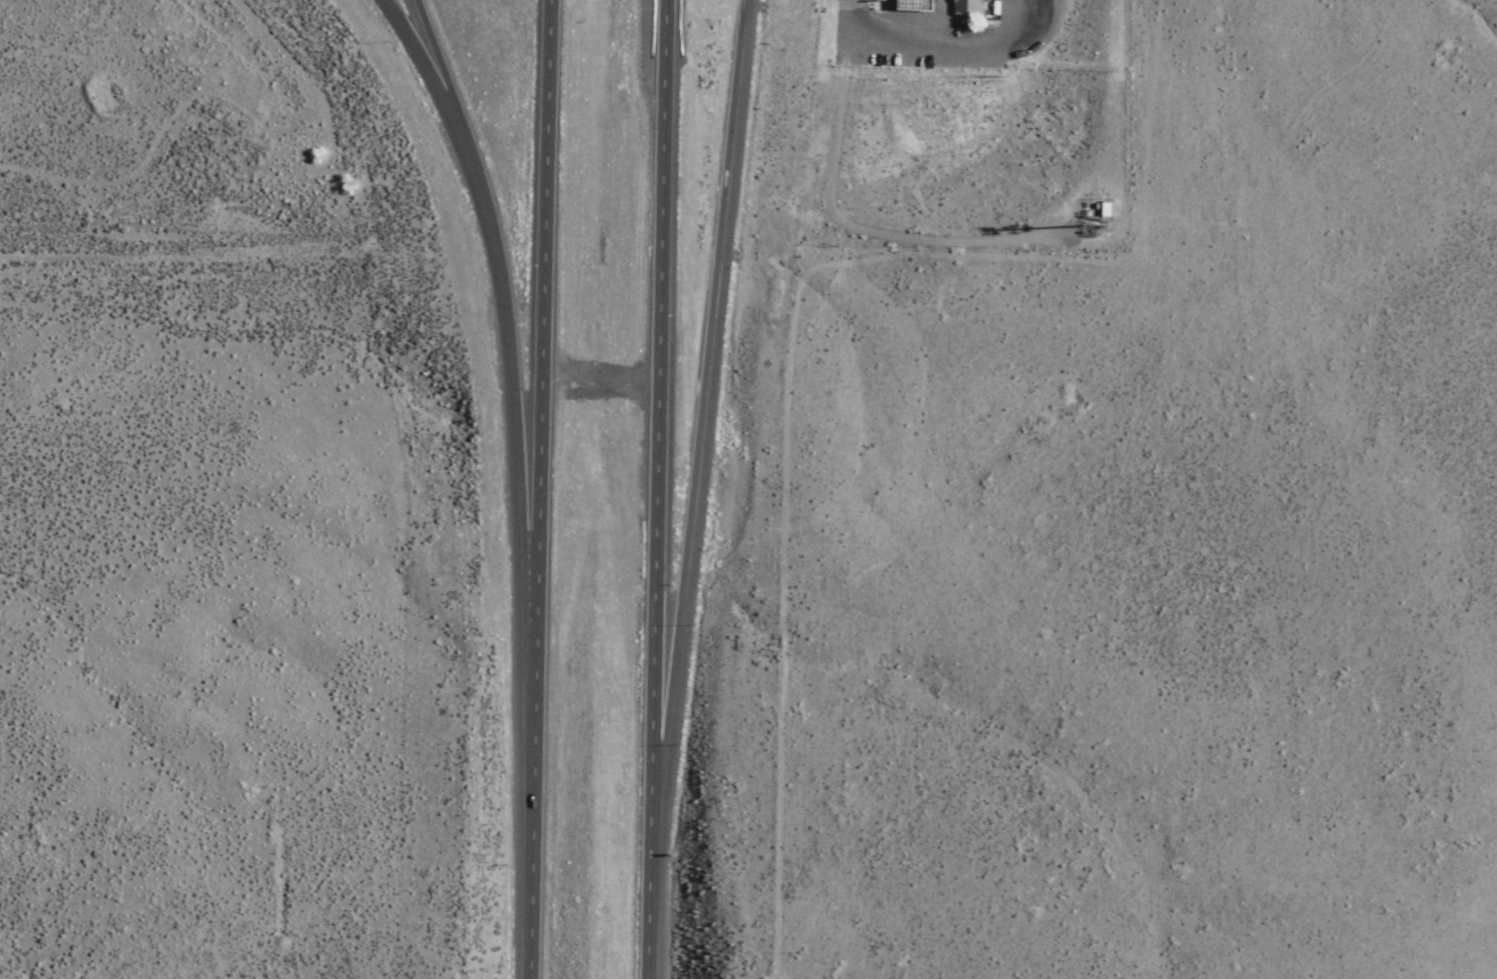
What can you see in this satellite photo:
building: (918, 5)
building: (971, 7)
crop: (1420, 40)
road: (428, 67)
road: (439, 69)
road: (180, 255)
crop: (16, 268)
road: (538, 317)
road: (514, 384)
road: (656, 419)
road: (700, 420)
road: (783, 489)
road: (532, 807)
road: (648, 909)

